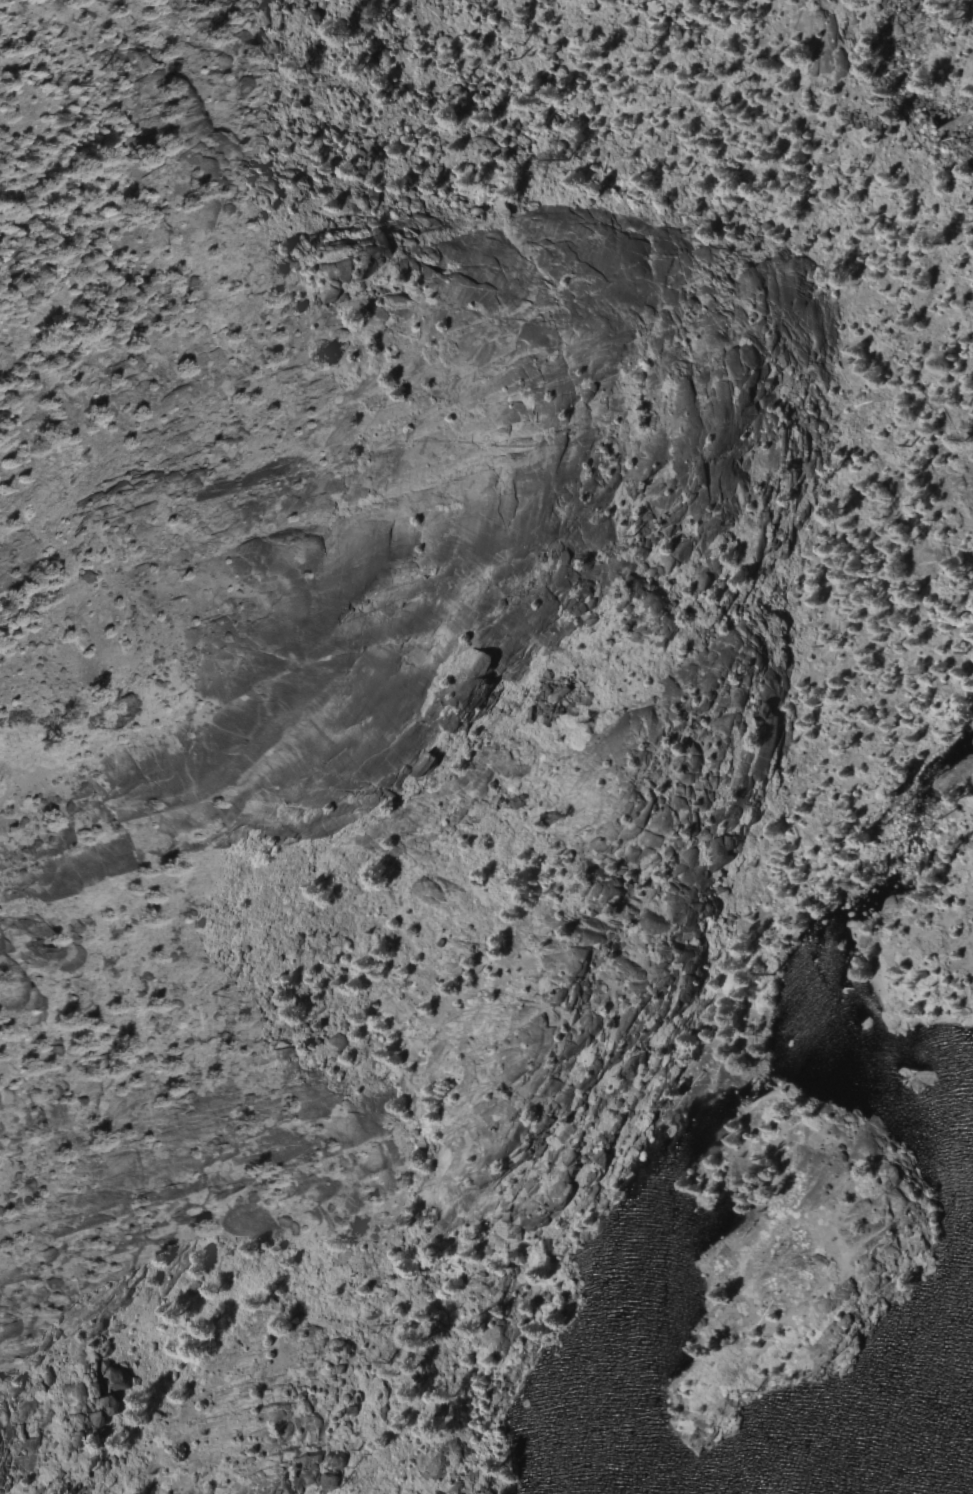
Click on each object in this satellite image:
river: (942, 55)
river: (927, 789)

